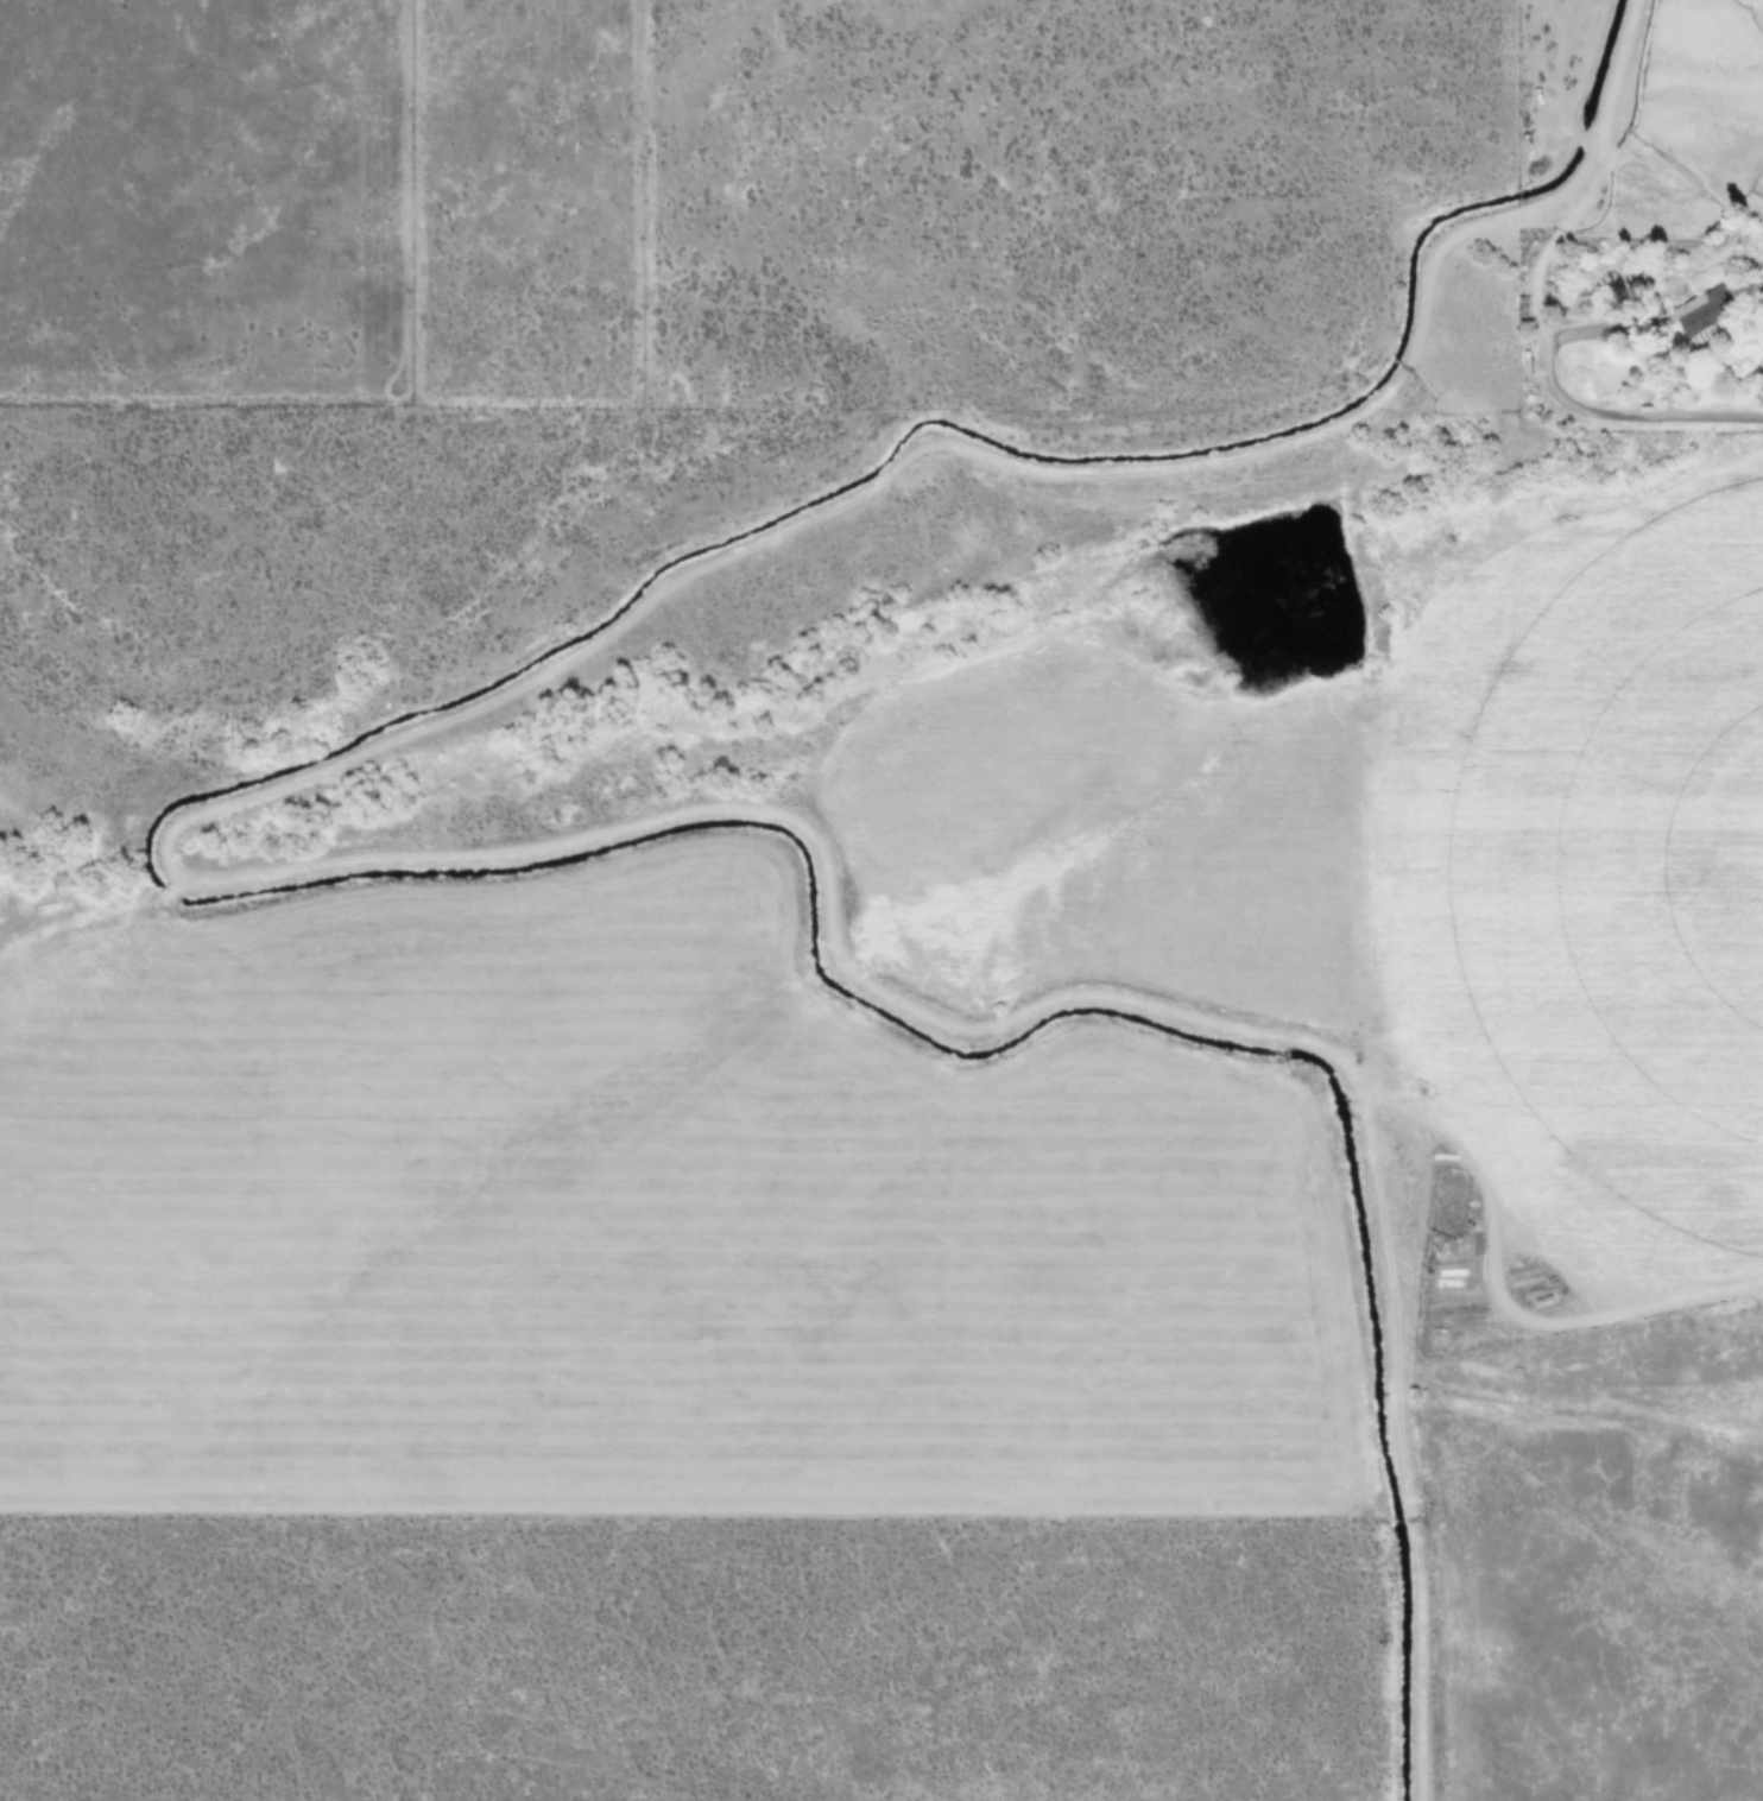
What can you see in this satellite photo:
building: (1701, 311)
road: (1689, 413)
road: (1500, 1293)

